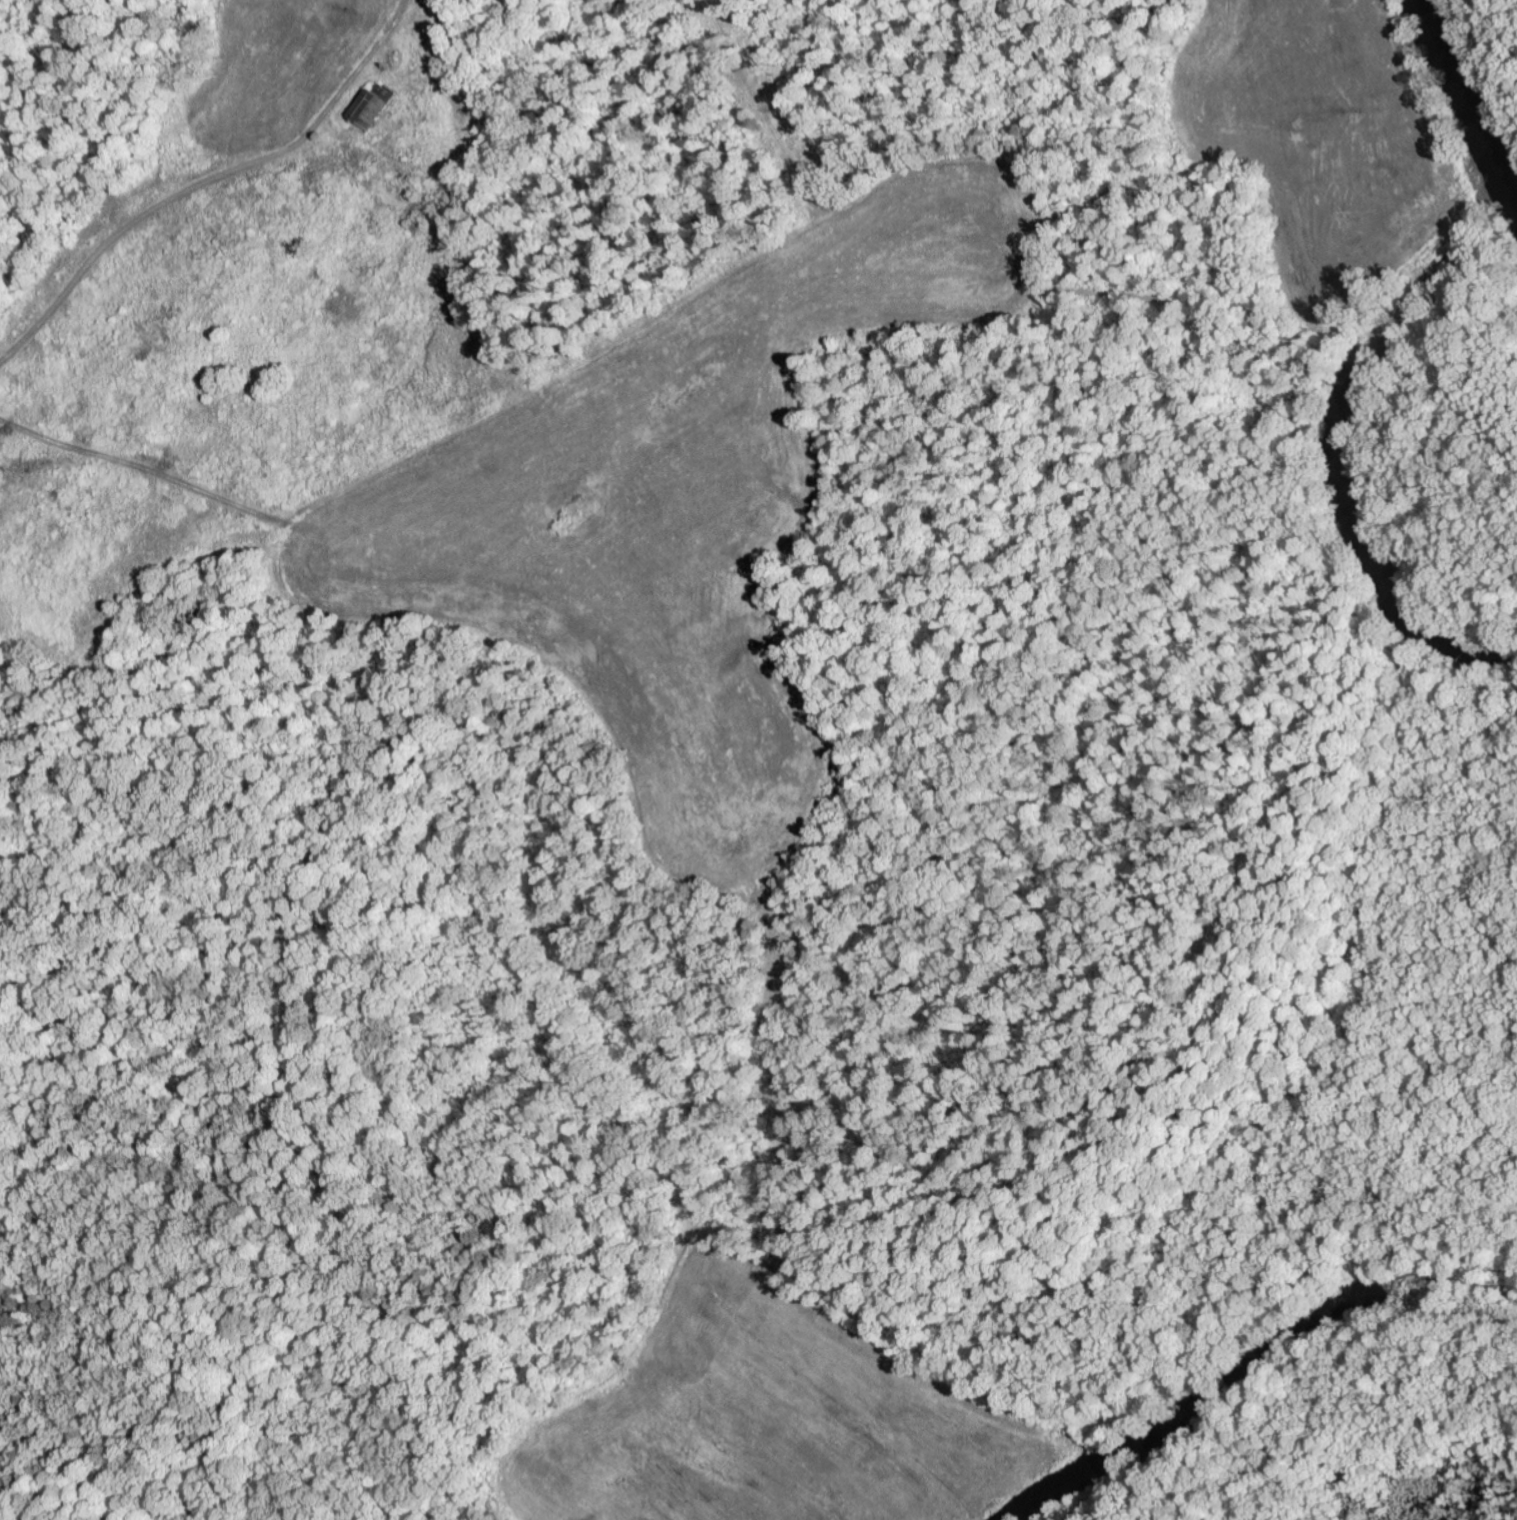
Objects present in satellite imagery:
river: (1471, 106)
building: (374, 107)
road: (199, 208)

